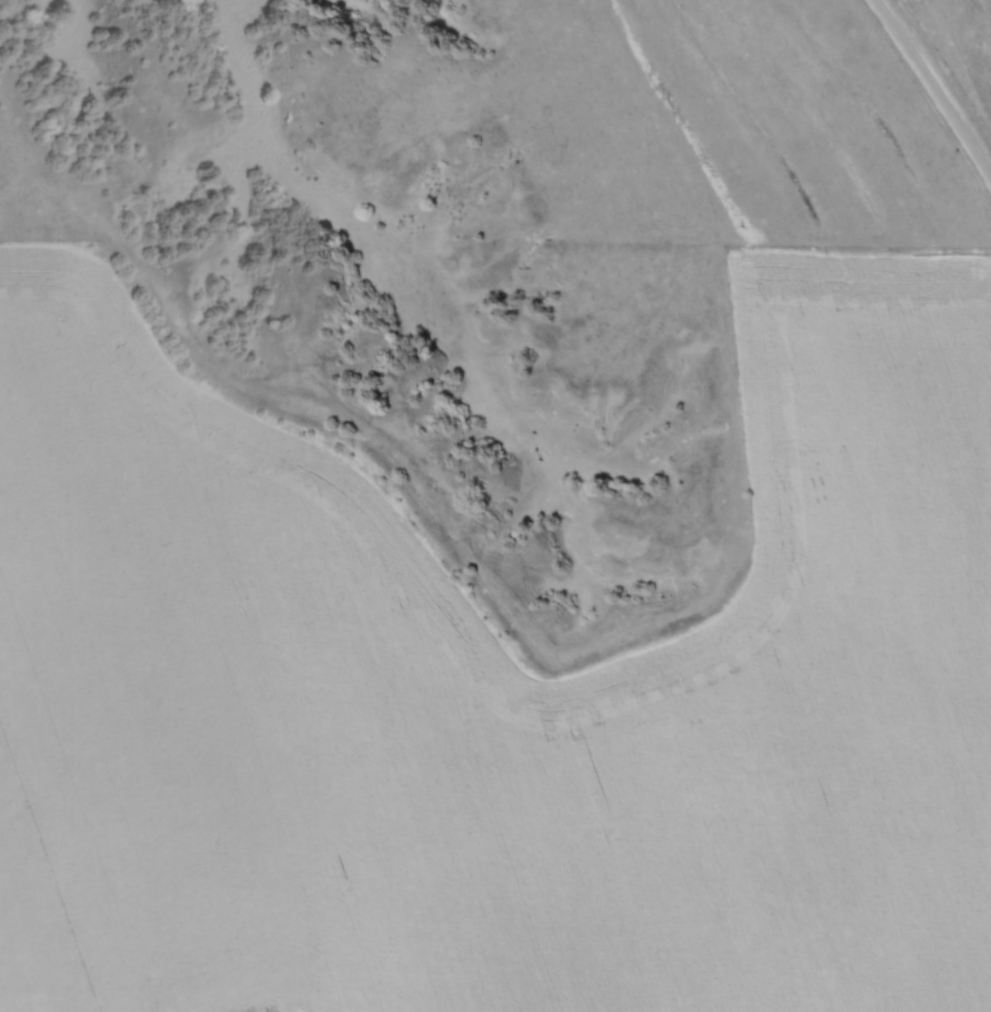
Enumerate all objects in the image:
road: (936, 83)

